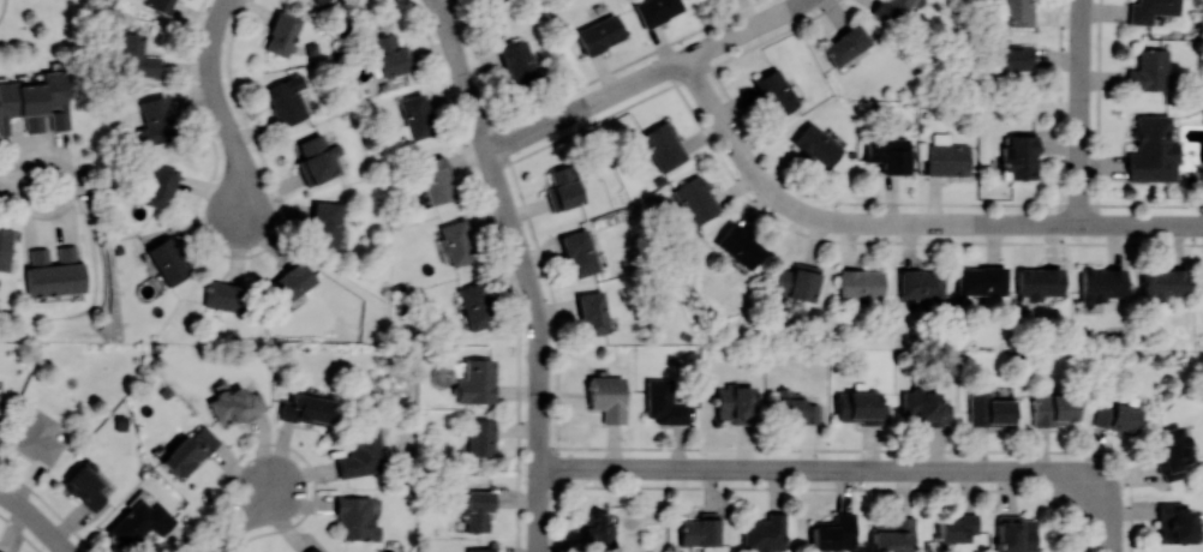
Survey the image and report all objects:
building: (485, 0)
building: (321, 1)
building: (157, 5)
road: (2, 7)
building: (656, 10)
building: (890, 10)
building: (1150, 10)
building: (1017, 11)
road: (746, 30)
building: (281, 34)
building: (599, 34)
building: (845, 44)
building: (391, 54)
building: (136, 55)
building: (1010, 60)
building: (519, 64)
building: (1149, 70)
building: (774, 91)
building: (286, 98)
building: (36, 102)
road: (587, 106)
road: (220, 107)
road: (1081, 112)
building: (417, 115)
building: (154, 120)
building: (816, 144)
building: (662, 145)
building: (1150, 149)
building: (888, 154)
building: (1019, 155)
building: (318, 156)
building: (946, 156)
road: (22, 181)
building: (435, 181)
building: (158, 185)
building: (563, 187)
building: (695, 199)
road: (782, 199)
building: (325, 223)
road: (963, 223)
road: (1089, 224)
road: (902, 240)
building: (456, 241)
building: (740, 245)
building: (6, 247)
building: (580, 252)
building: (167, 259)
road: (526, 269)
building: (54, 271)
building: (1202, 278)
building: (982, 280)
building: (1162, 280)
building: (797, 281)
building: (289, 282)
building: (861, 282)
building: (1040, 282)
building: (921, 283)
building: (1101, 283)
building: (223, 295)
building: (475, 305)
building: (593, 312)
building: (477, 382)
building: (608, 397)
building: (664, 402)
building: (237, 403)
building: (735, 403)
building: (926, 407)
building: (305, 408)
building: (795, 408)
building: (860, 408)
building: (989, 408)
building: (1053, 409)
building: (1117, 416)
building: (480, 436)
building: (38, 438)
building: (1171, 450)
building: (188, 451)
building: (360, 451)
road: (816, 470)
building: (85, 485)
building: (478, 509)
building: (355, 517)
road: (36, 518)
building: (139, 522)
road: (239, 522)
building: (1174, 522)
building: (957, 526)
road: (1101, 526)
building: (700, 529)
building: (597, 530)
building: (833, 532)
building: (764, 533)
building: (1016, 533)
building: (893, 535)
building: (313, 550)
building: (479, 550)
building: (0, 551)

